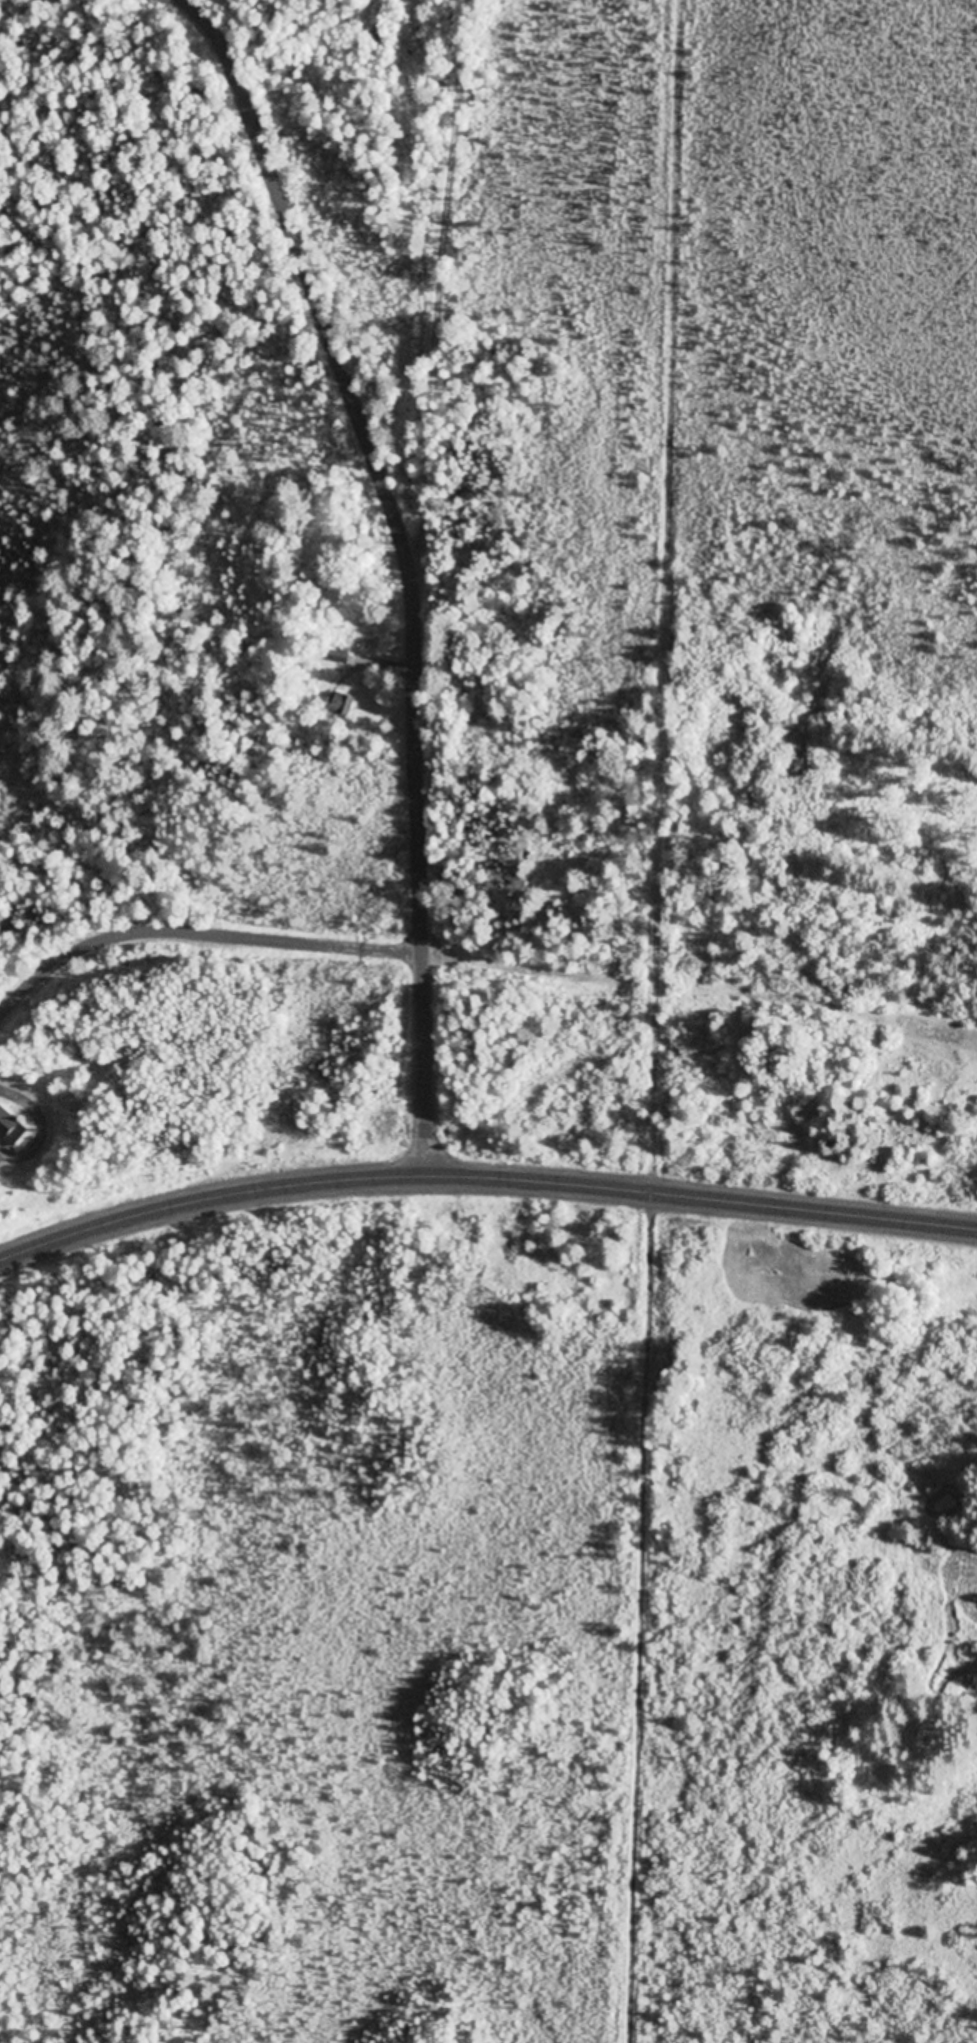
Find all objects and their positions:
building: (380, 37)
road: (341, 54)
road: (308, 282)
road: (440, 287)
building: (338, 704)
road: (417, 876)
road: (196, 931)
building: (940, 1038)
building: (12, 1129)
road: (484, 1180)

